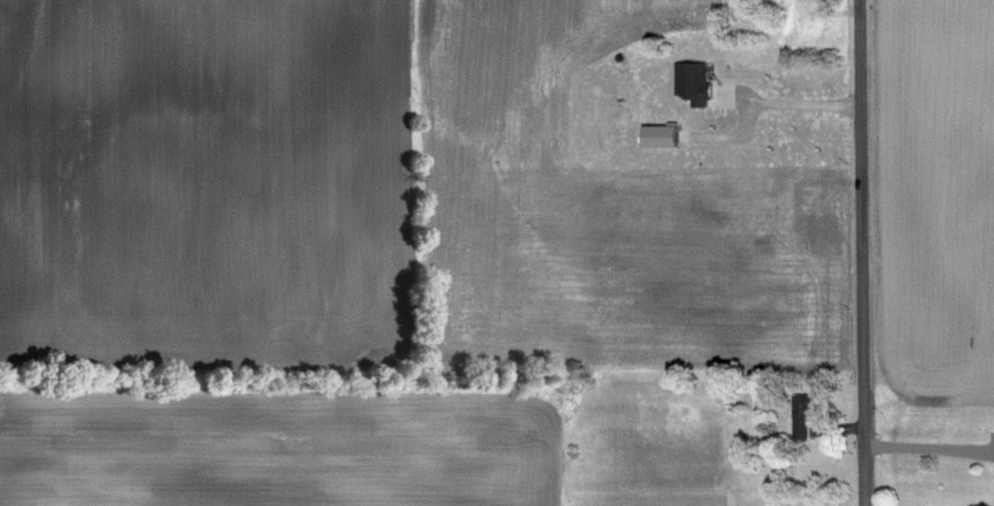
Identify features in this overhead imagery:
road: (798, 102)
road: (861, 253)
building: (804, 417)
road: (929, 446)

